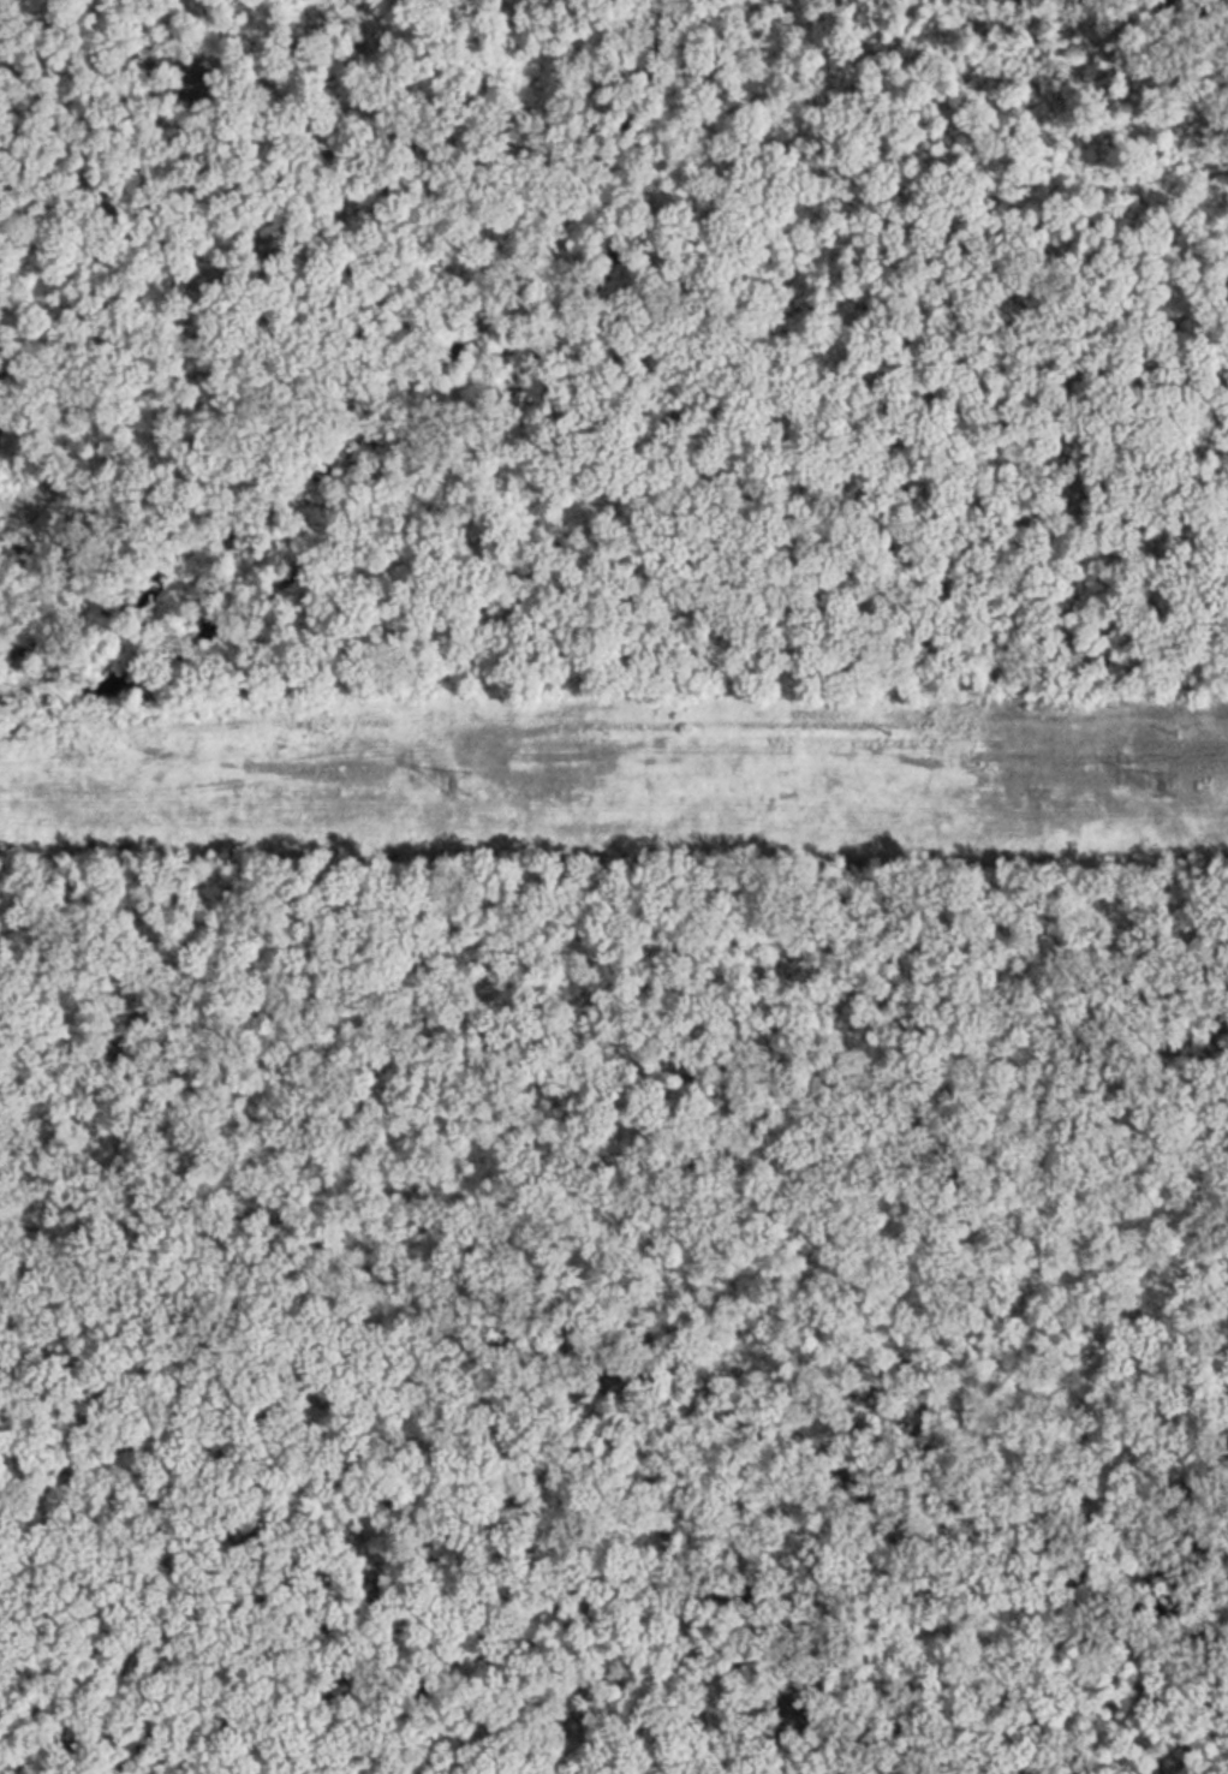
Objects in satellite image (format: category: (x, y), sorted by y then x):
road: (31, 692)
power tower: (459, 782)
power tower: (1166, 785)

